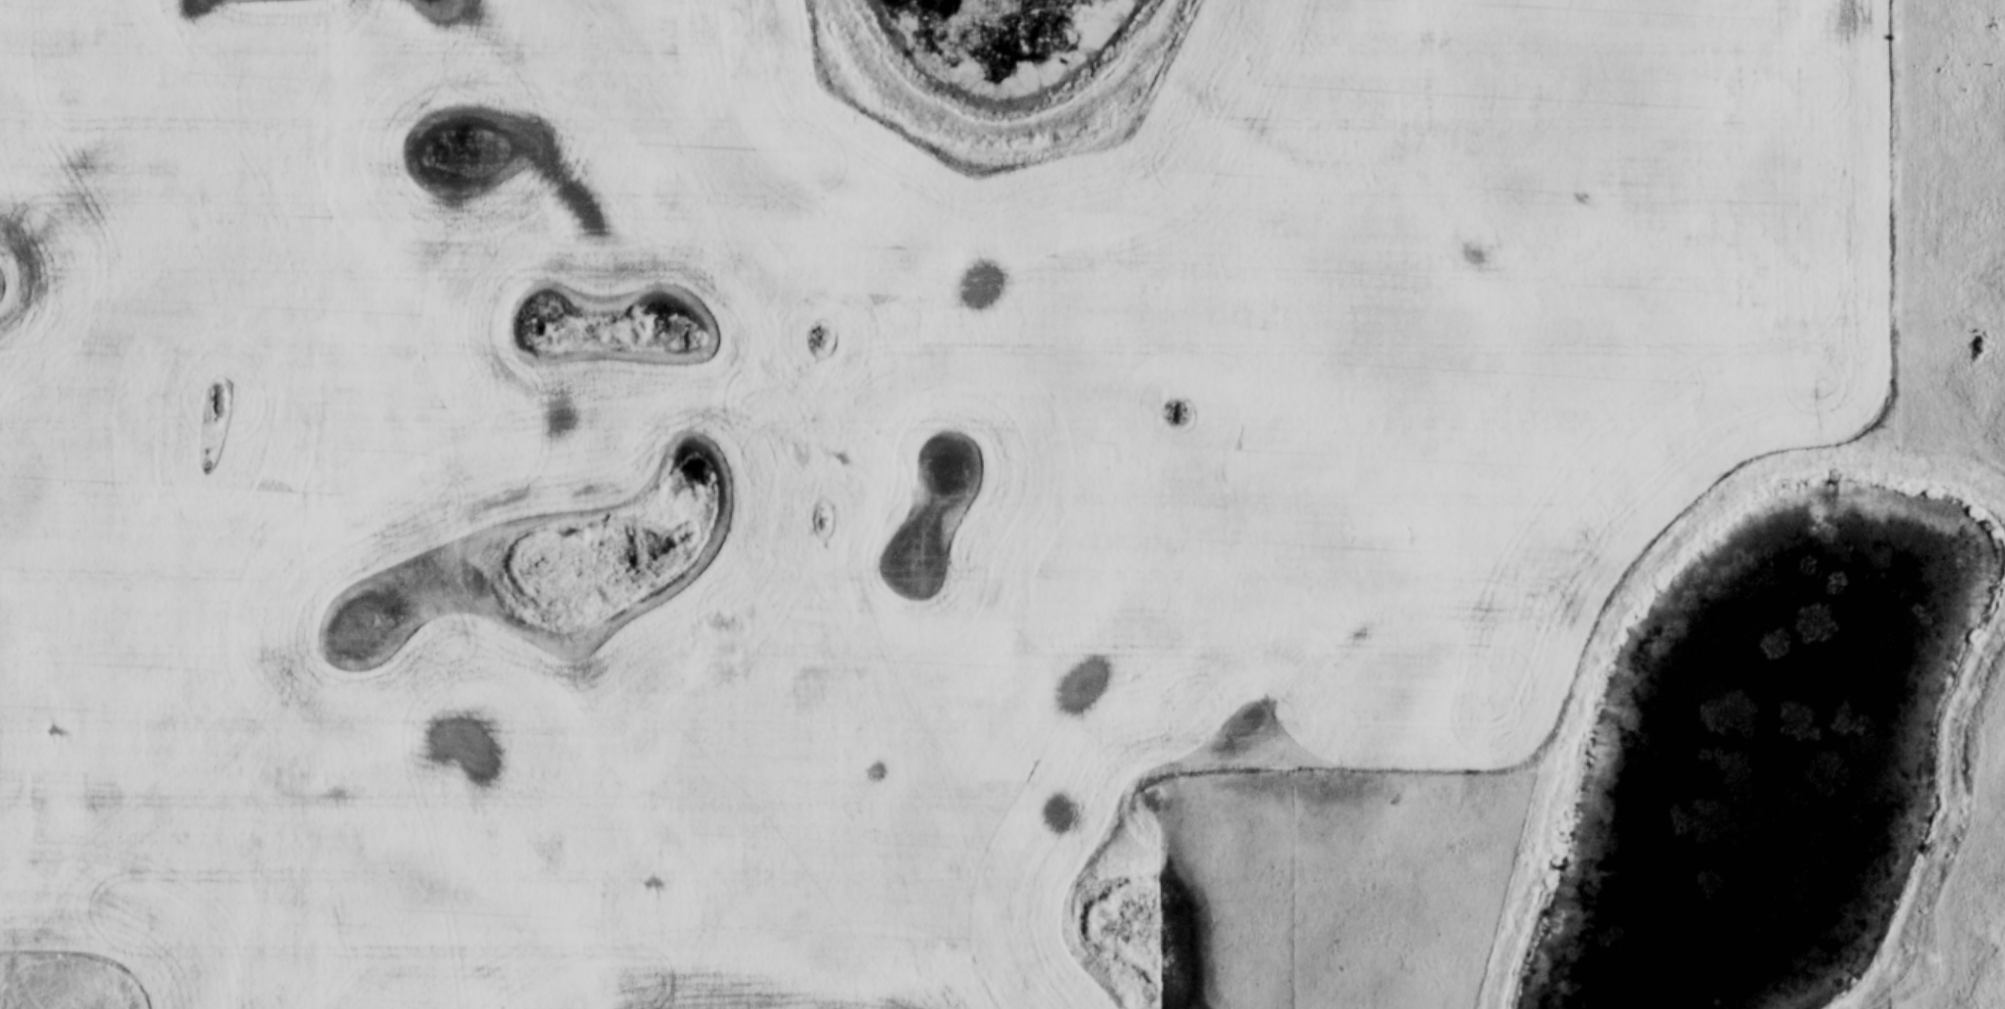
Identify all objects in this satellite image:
road: (320, 504)

